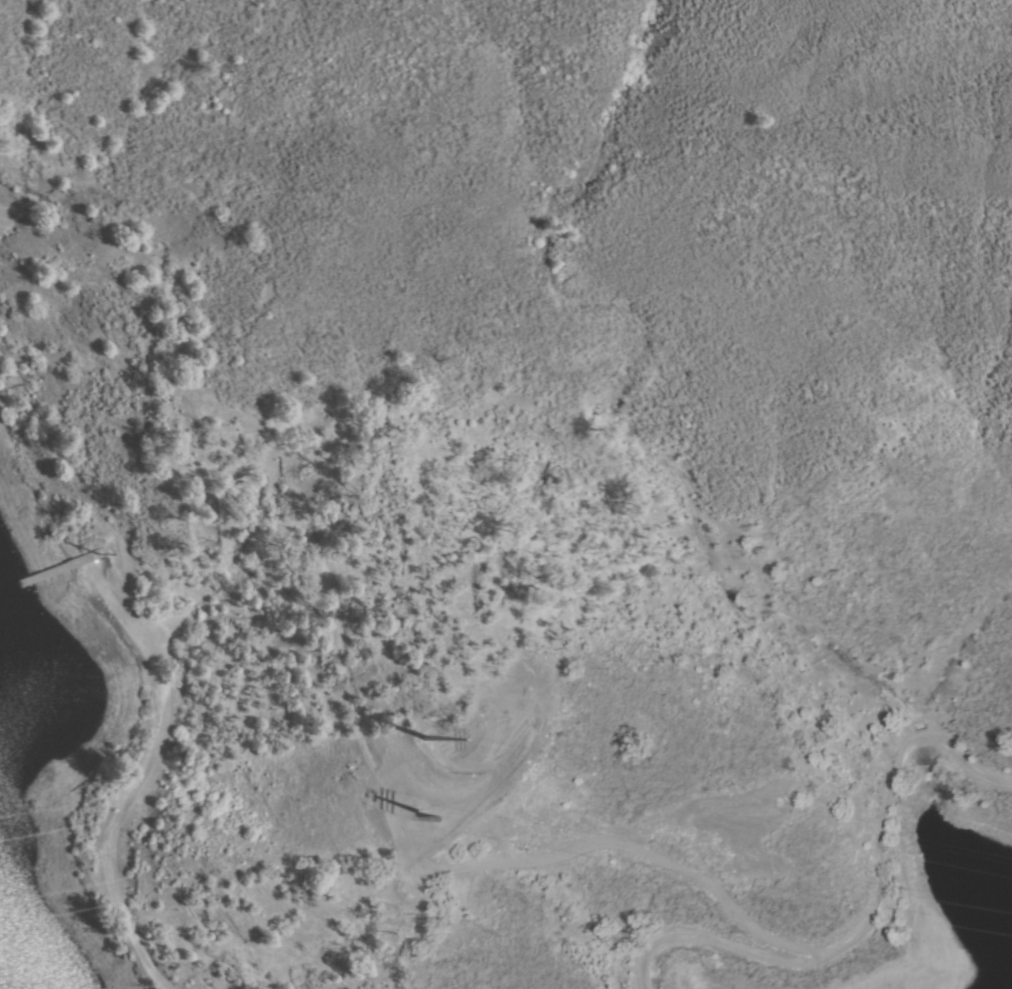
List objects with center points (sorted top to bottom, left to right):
building: (247, 495)
power tower: (402, 748)
road: (147, 784)
power tower: (421, 819)
road: (879, 913)

